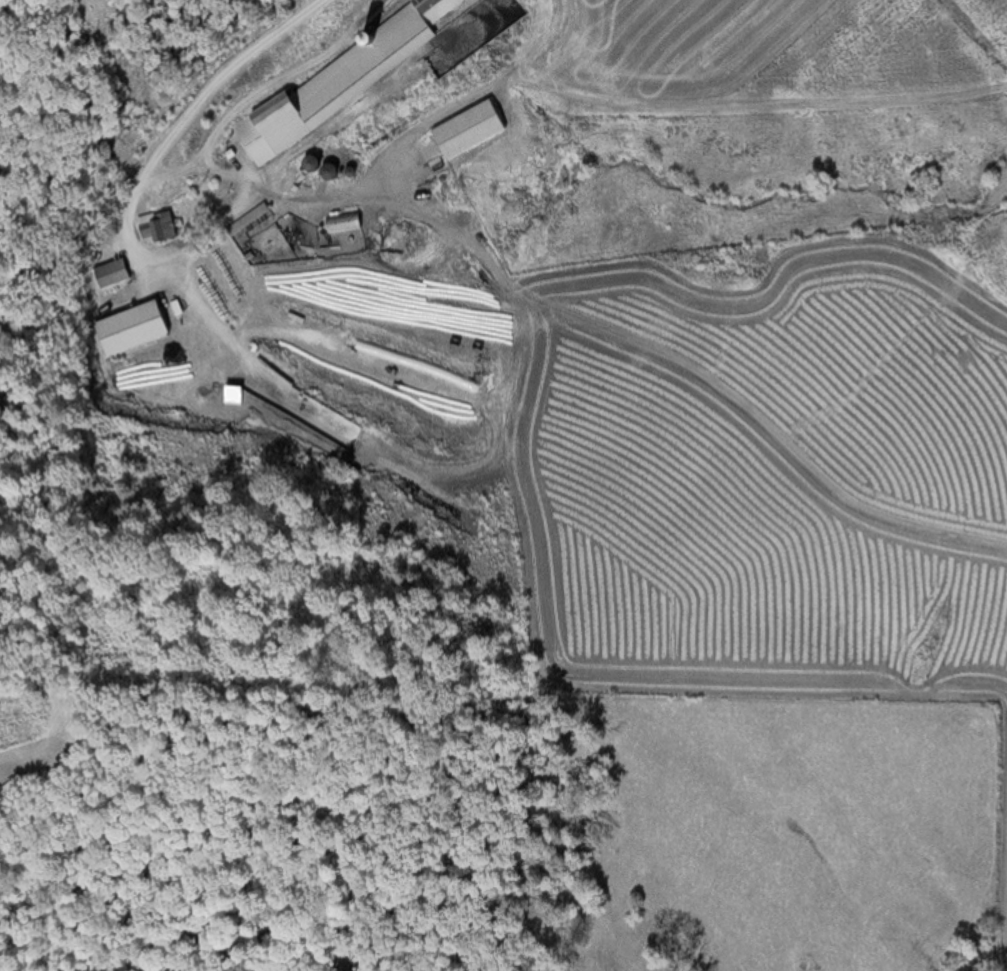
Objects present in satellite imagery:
building: (443, 12)
building: (259, 66)
road: (217, 75)
building: (278, 129)
building: (476, 129)
building: (161, 226)
building: (115, 273)
building: (138, 328)

